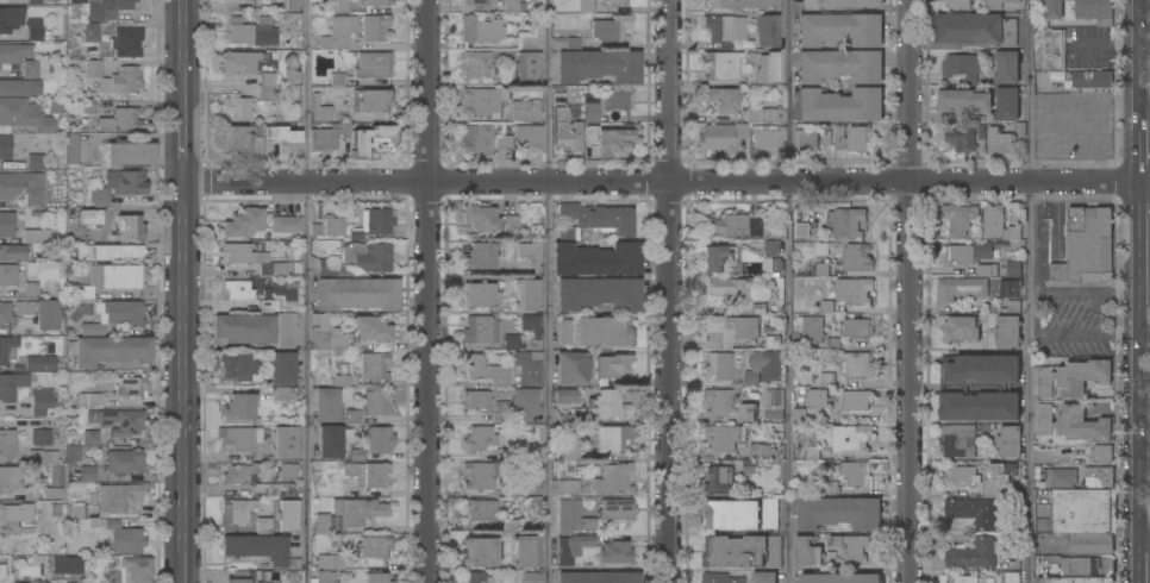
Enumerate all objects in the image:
building: (617, 1)
building: (33, 2)
building: (376, 2)
building: (475, 2)
building: (769, 2)
building: (840, 2)
building: (733, 4)
building: (958, 4)
building: (996, 4)
building: (292, 5)
building: (342, 6)
building: (511, 6)
building: (104, 7)
building: (1094, 11)
building: (1049, 12)
building: (10, 18)
building: (375, 27)
building: (33, 29)
building: (611, 29)
building: (839, 29)
building: (480, 30)
building: (727, 30)
building: (767, 30)
building: (975, 30)
building: (250, 31)
building: (90, 32)
building: (338, 32)
building: (532, 40)
building: (126, 42)
building: (565, 42)
building: (1054, 50)
building: (13, 55)
road: (1139, 55)
road: (185, 62)
building: (238, 62)
building: (373, 64)
building: (476, 64)
building: (598, 65)
building: (720, 65)
building: (763, 65)
building: (840, 65)
building: (963, 65)
building: (526, 67)
building: (1006, 67)
building: (35, 68)
building: (113, 77)
building: (1090, 79)
building: (20, 87)
building: (267, 87)
building: (560, 96)
building: (615, 99)
building: (723, 99)
building: (373, 100)
building: (481, 100)
building: (964, 100)
building: (1006, 104)
building: (839, 105)
building: (87, 106)
building: (237, 106)
building: (320, 109)
building: (525, 111)
building: (590, 112)
building: (30, 114)
building: (752, 115)
building: (779, 115)
building: (120, 119)
building: (742, 130)
building: (565, 131)
building: (239, 137)
building: (327, 137)
building: (376, 137)
building: (527, 137)
building: (715, 137)
building: (282, 138)
building: (475, 138)
building: (606, 138)
building: (767, 138)
building: (961, 138)
building: (805, 139)
building: (851, 139)
building: (502, 142)
building: (999, 143)
building: (7, 148)
building: (70, 148)
building: (130, 153)
road: (185, 153)
building: (35, 161)
road: (667, 182)
building: (118, 186)
building: (23, 187)
building: (89, 217)
building: (958, 218)
building: (486, 219)
building: (594, 219)
building: (243, 222)
building: (373, 222)
building: (845, 222)
building: (6, 224)
building: (286, 224)
building: (332, 225)
building: (998, 225)
building: (732, 226)
building: (127, 228)
building: (801, 231)
building: (31, 236)
building: (770, 247)
building: (1086, 247)
building: (523, 249)
building: (108, 251)
building: (13, 252)
building: (243, 253)
building: (968, 253)
building: (368, 256)
building: (479, 256)
building: (717, 257)
building: (857, 257)
building: (596, 259)
building: (774, 265)
building: (273, 269)
building: (332, 269)
building: (820, 269)
building: (1011, 269)
building: (987, 270)
building: (7, 275)
building: (121, 276)
building: (1010, 288)
building: (31, 289)
building: (729, 289)
building: (960, 289)
building: (238, 290)
road: (787, 290)
building: (854, 290)
building: (82, 291)
road: (305, 291)
road: (430, 291)
road: (545, 291)
road: (670, 291)
road: (911, 291)
road: (1027, 291)
building: (599, 293)
building: (356, 294)
building: (479, 294)
building: (525, 295)
building: (269, 306)
road: (1038, 306)
building: (23, 307)
building: (1013, 307)
building: (760, 308)
building: (826, 308)
building: (123, 312)
building: (6, 314)
building: (48, 314)
building: (320, 319)
building: (531, 325)
building: (244, 327)
building: (92, 328)
building: (371, 328)
building: (476, 328)
building: (731, 328)
building: (857, 328)
building: (283, 330)
building: (812, 330)
building: (961, 330)
building: (564, 331)
building: (602, 331)
building: (1006, 331)
building: (326, 339)
building: (511, 341)
building: (771, 343)
building: (8, 350)
building: (108, 350)
building: (39, 363)
building: (857, 364)
building: (239, 365)
building: (374, 365)
building: (612, 365)
building: (527, 366)
building: (571, 366)
building: (717, 366)
building: (282, 368)
building: (763, 368)
building: (485, 370)
building: (1074, 377)
building: (823, 380)
building: (339, 381)
road: (185, 383)
building: (11, 384)
building: (130, 387)
building: (1005, 389)
building: (283, 393)
building: (567, 396)
building: (817, 399)
building: (89, 400)
building: (476, 400)
building: (856, 400)
building: (42, 401)
building: (720, 401)
building: (376, 402)
building: (524, 403)
building: (610, 403)
building: (326, 405)
building: (774, 405)
building: (239, 407)
building: (501, 410)
building: (746, 412)
building: (352, 415)
building: (799, 415)
road: (1137, 415)
building: (123, 421)
building: (1074, 424)
building: (90, 437)
building: (40, 438)
building: (477, 438)
building: (613, 438)
building: (721, 438)
building: (238, 439)
building: (851, 439)
building: (283, 440)
building: (330, 440)
building: (958, 440)
building: (1008, 440)
building: (6, 443)
building: (374, 443)
building: (573, 452)
building: (812, 452)
building: (1101, 453)
building: (70, 455)
building: (42, 456)
building: (756, 457)
building: (124, 460)
building: (286, 471)
building: (87, 474)
building: (238, 474)
building: (368, 474)
building: (481, 475)
building: (855, 475)
building: (56, 476)
building: (960, 476)
building: (1058, 477)
building: (1099, 477)
building: (10, 478)
building: (613, 478)
building: (718, 479)
building: (999, 479)
building: (568, 485)
building: (525, 488)
building: (275, 489)
building: (30, 493)
building: (52, 494)
building: (117, 497)
building: (479, 509)
building: (615, 509)
building: (1083, 510)
building: (74, 512)
building: (235, 512)
building: (973, 512)
building: (769, 513)
building: (838, 513)
building: (349, 514)
building: (287, 515)
building: (730, 515)
building: (573, 516)
building: (15, 519)
building: (263, 526)
building: (510, 526)
building: (125, 538)
building: (1090, 544)
building: (257, 547)
building: (370, 547)
building: (571, 547)
building: (849, 547)
building: (480, 551)
building: (742, 551)
building: (615, 552)
building: (807, 552)
building: (524, 553)
building: (974, 553)
building: (336, 560)
building: (65, 565)
building: (1074, 565)
building: (1106, 565)
building: (138, 569)
building: (1, 571)
building: (112, 576)
building: (238, 577)
building: (324, 577)
building: (375, 577)
building: (475, 577)
building: (529, 577)
building: (596, 577)
building: (763, 577)
building: (1008, 577)
building: (719, 578)
building: (839, 578)
building: (962, 579)
building: (1073, 579)
building: (39, 581)
building: (19, 582)

